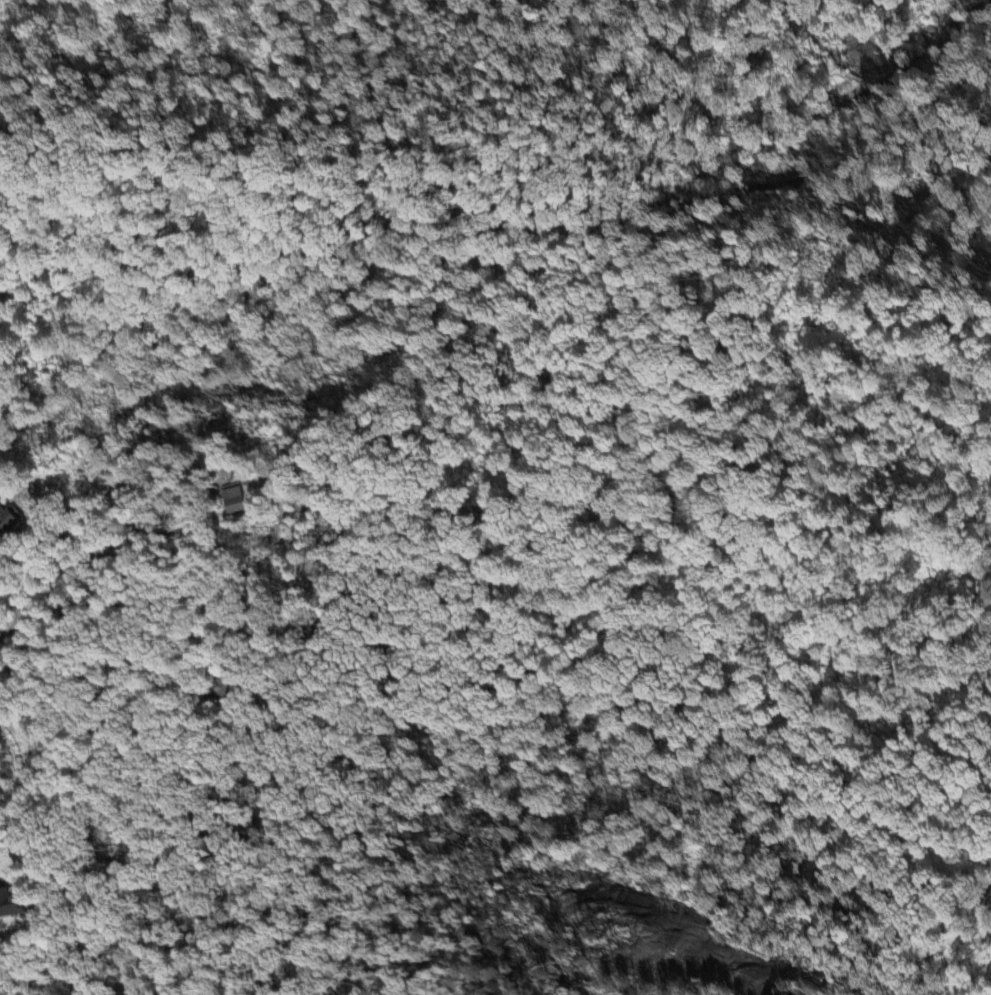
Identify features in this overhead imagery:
building: (234, 499)
building: (10, 521)
road: (873, 556)
road: (93, 558)
road: (458, 575)
road: (258, 633)
road: (850, 656)
building: (223, 689)
park: (615, 698)
road: (22, 791)
road: (917, 882)
building: (11, 905)

